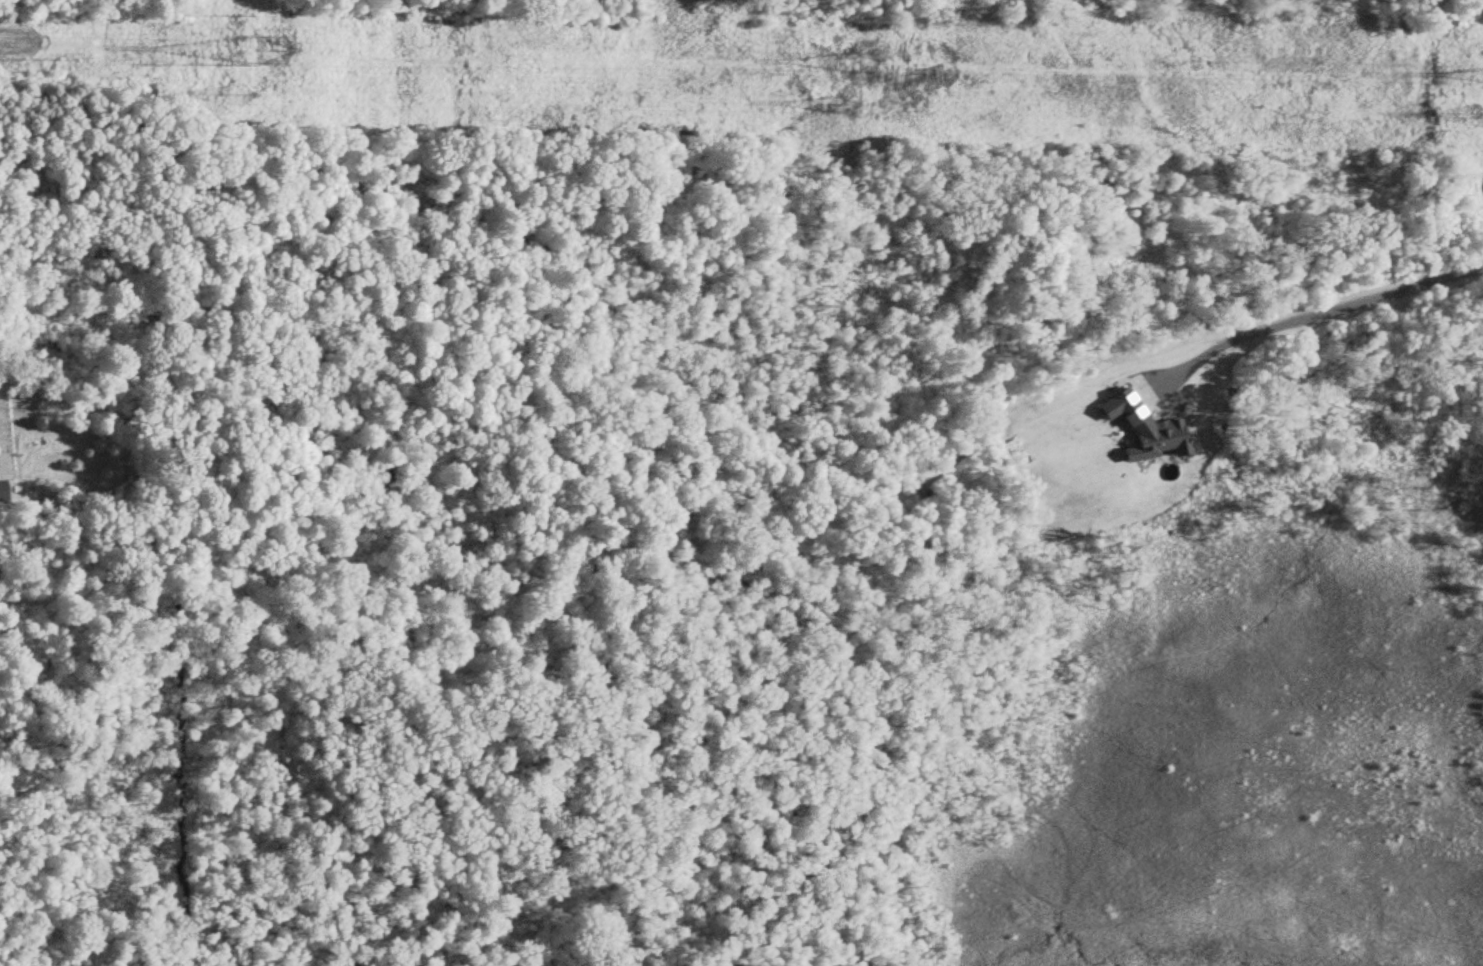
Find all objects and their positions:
power tower: (274, 48)
power tower: (863, 64)
power tower: (244, 98)
power tower: (843, 105)
road: (1323, 311)
building: (4, 491)

